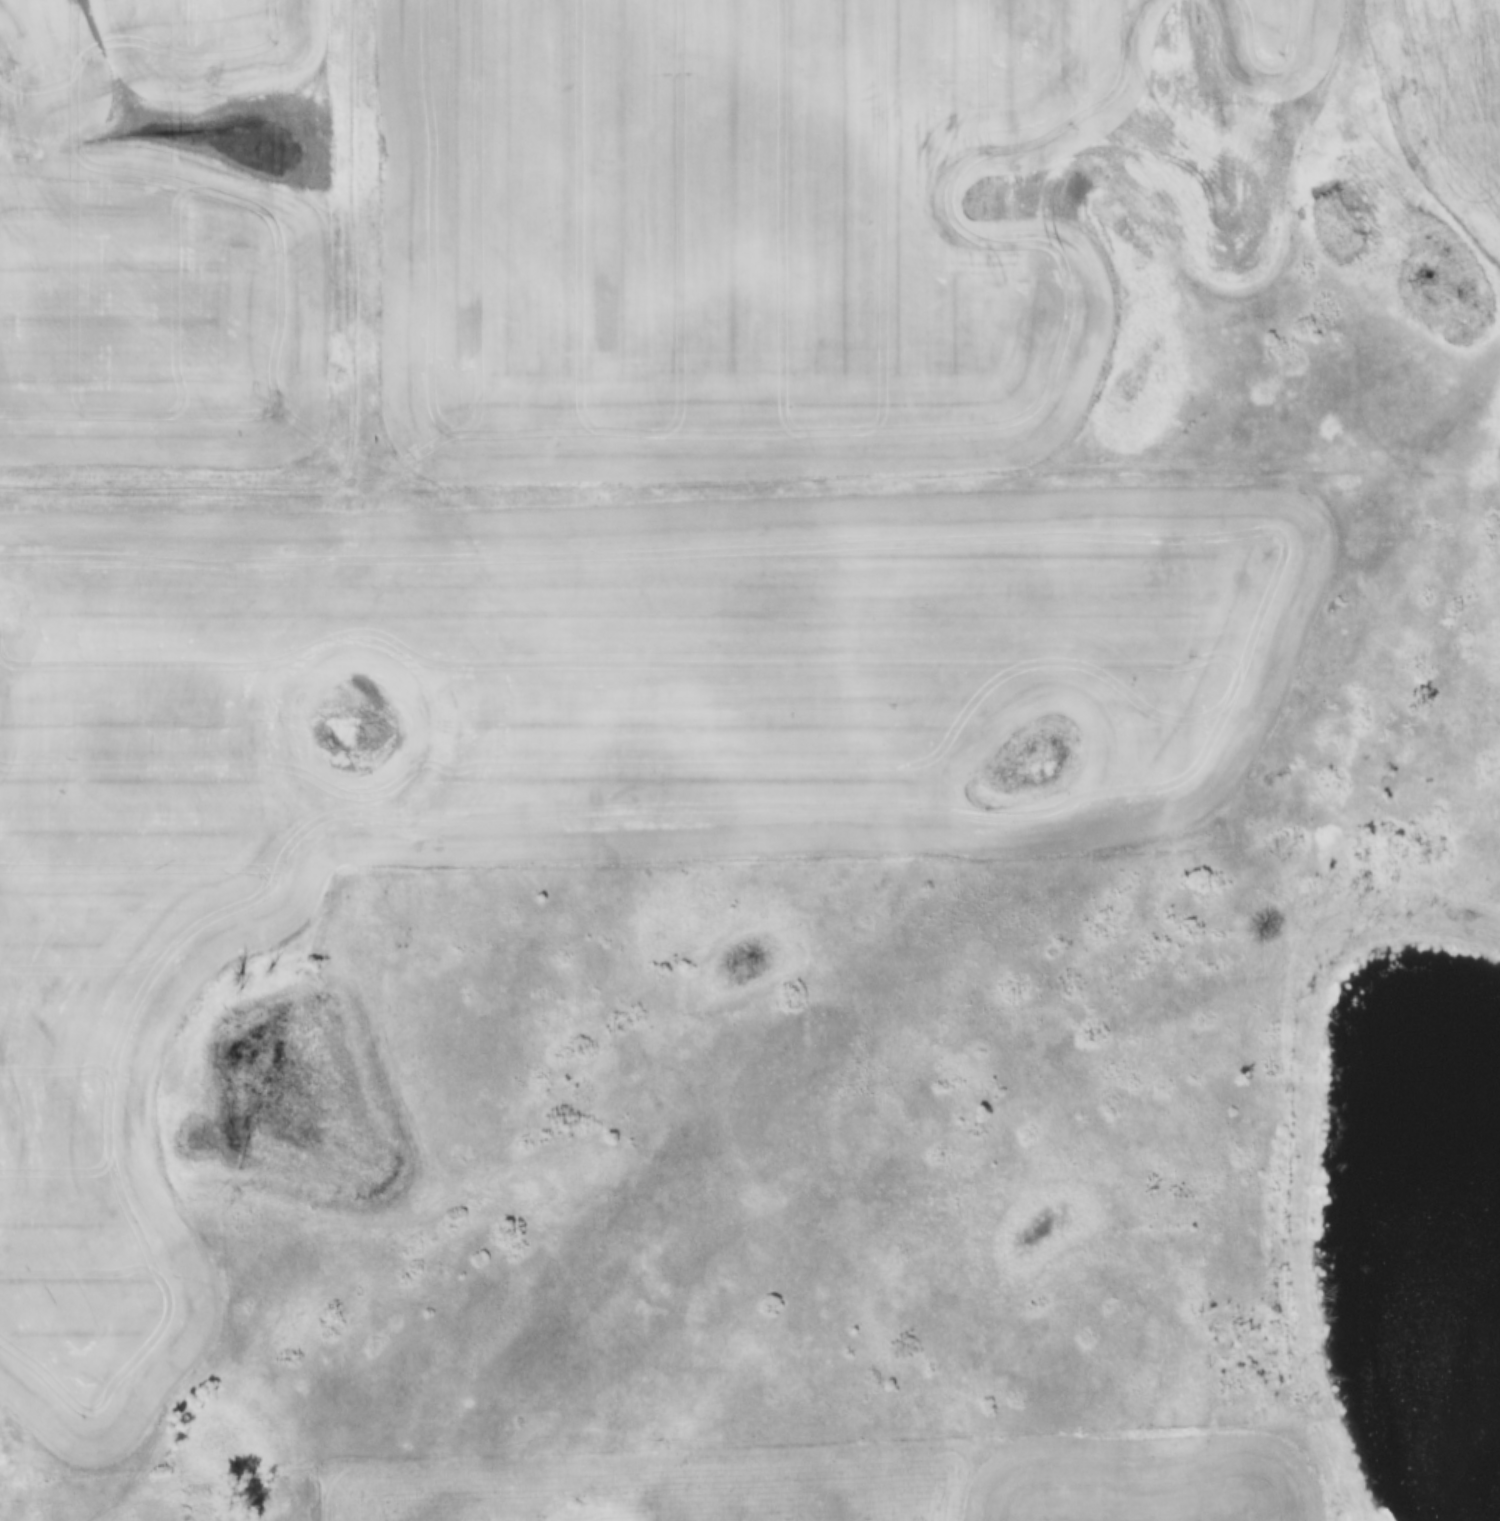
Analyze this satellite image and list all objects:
road: (352, 242)
road: (750, 488)

